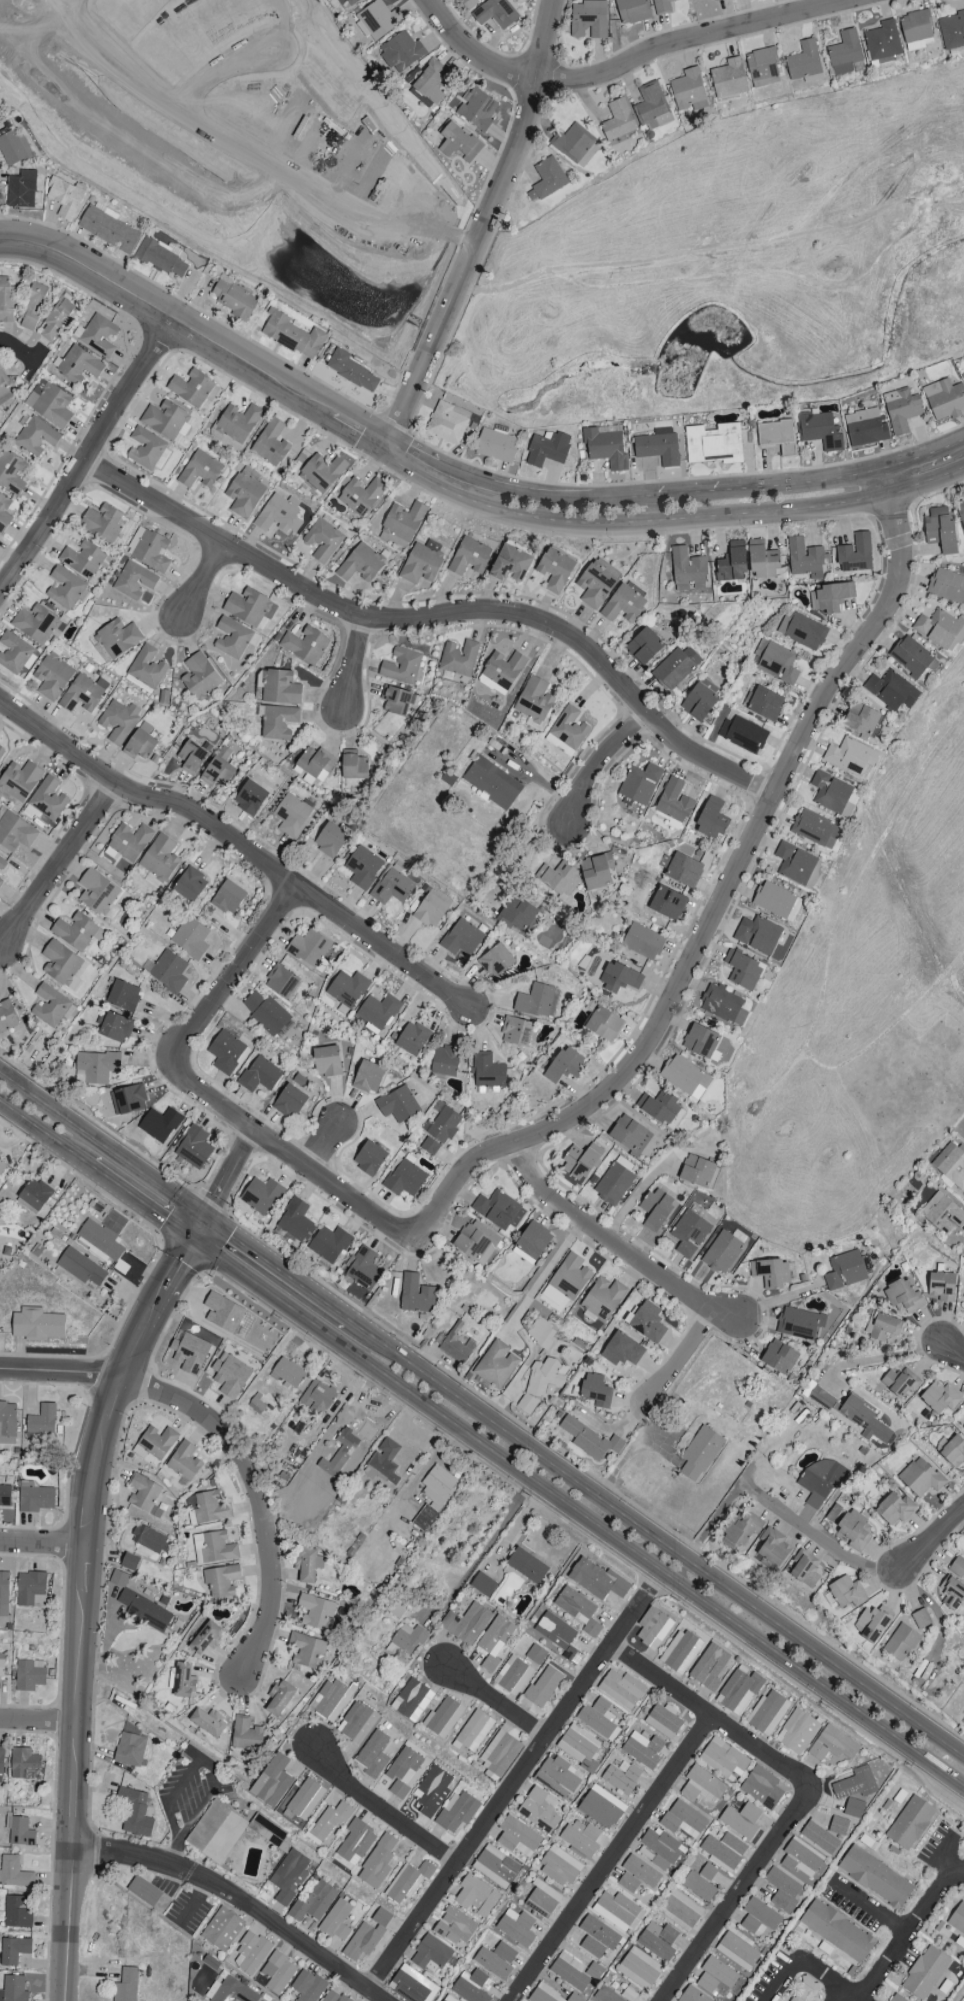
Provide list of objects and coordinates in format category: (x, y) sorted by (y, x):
building: (716, 0)
road: (69, 2)
building: (345, 3)
building: (468, 3)
building: (662, 6)
building: (631, 11)
building: (495, 13)
building: (589, 19)
building: (377, 21)
building: (916, 30)
building: (951, 30)
building: (882, 42)
building: (401, 52)
building: (844, 52)
road: (631, 63)
building: (804, 63)
road: (223, 65)
building: (762, 68)
building: (729, 78)
building: (428, 81)
building: (689, 91)
building: (652, 107)
building: (476, 109)
building: (618, 120)
building: (459, 144)
building: (575, 145)
building: (13, 148)
road: (248, 152)
building: (546, 180)
building: (21, 190)
building: (64, 198)
road: (480, 226)
building: (107, 228)
road: (716, 248)
building: (160, 257)
building: (234, 298)
building: (6, 301)
building: (33, 306)
building: (56, 319)
road: (196, 332)
building: (97, 335)
building: (292, 335)
road: (20, 352)
building: (79, 364)
building: (351, 371)
building: (962, 375)
building: (3, 388)
building: (191, 388)
building: (944, 399)
building: (49, 403)
building: (901, 410)
building: (165, 419)
building: (238, 422)
building: (448, 422)
building: (865, 428)
building: (820, 431)
building: (34, 435)
building: (777, 437)
building: (271, 443)
building: (714, 444)
building: (496, 445)
building: (606, 446)
building: (658, 447)
road: (949, 447)
building: (145, 448)
building: (547, 449)
road: (86, 452)
road: (409, 460)
road: (908, 462)
building: (200, 470)
building: (11, 472)
building: (322, 472)
road: (884, 483)
road: (800, 484)
road: (926, 484)
building: (245, 493)
road: (538, 495)
road: (681, 495)
building: (361, 496)
building: (960, 511)
building: (4, 513)
building: (279, 514)
building: (102, 522)
road: (655, 522)
building: (401, 524)
building: (941, 530)
building: (323, 539)
building: (855, 554)
building: (469, 557)
building: (803, 557)
building: (82, 559)
building: (511, 562)
building: (763, 562)
building: (360, 563)
building: (422, 563)
building: (731, 566)
building: (555, 570)
building: (688, 570)
road: (204, 580)
building: (133, 581)
building: (595, 584)
building: (947, 586)
building: (65, 588)
building: (831, 597)
building: (623, 605)
building: (250, 608)
road: (440, 616)
building: (38, 624)
building: (940, 630)
building: (805, 632)
building: (118, 637)
building: (232, 638)
building: (305, 645)
building: (644, 647)
building: (13, 653)
building: (910, 656)
building: (459, 658)
building: (776, 662)
road: (355, 663)
building: (400, 666)
building: (147, 667)
building: (676, 667)
building: (502, 672)
building: (52, 676)
building: (199, 676)
building: (280, 687)
building: (891, 691)
building: (83, 693)
building: (396, 700)
building: (534, 701)
building: (698, 702)
building: (764, 704)
building: (861, 719)
building: (118, 721)
building: (278, 722)
building: (567, 732)
building: (743, 734)
building: (140, 743)
building: (850, 756)
building: (191, 757)
building: (316, 762)
road: (603, 763)
building: (354, 766)
building: (217, 773)
building: (19, 780)
building: (492, 783)
building: (640, 784)
building: (830, 792)
building: (250, 797)
building: (48, 799)
building: (674, 802)
building: (291, 815)
building: (712, 819)
building: (815, 829)
building: (15, 831)
building: (330, 840)
building: (130, 842)
road: (239, 844)
road: (520, 845)
road: (751, 846)
building: (160, 858)
road: (58, 861)
building: (2, 862)
building: (794, 864)
building: (363, 867)
building: (683, 870)
building: (596, 871)
building: (558, 879)
building: (1, 881)
building: (190, 884)
building: (392, 887)
building: (98, 894)
building: (228, 898)
building: (776, 901)
building: (667, 903)
building: (430, 910)
building: (519, 917)
building: (75, 931)
building: (758, 934)
building: (190, 938)
building: (462, 939)
building: (641, 943)
building: (309, 949)
building: (496, 961)
building: (61, 963)
road: (244, 966)
building: (742, 970)
building: (168, 972)
building: (618, 977)
road: (903, 977)
building: (281, 981)
building: (347, 989)
building: (123, 996)
building: (535, 1000)
building: (50, 1005)
building: (723, 1005)
building: (378, 1012)
building: (266, 1013)
building: (7, 1017)
building: (604, 1024)
building: (116, 1028)
building: (516, 1031)
building: (412, 1039)
building: (701, 1041)
building: (226, 1053)
building: (326, 1061)
building: (445, 1061)
building: (565, 1065)
building: (95, 1067)
building: (487, 1071)
building: (259, 1075)
building: (368, 1077)
building: (685, 1077)
building: (128, 1099)
building: (289, 1102)
building: (397, 1104)
building: (659, 1106)
building: (160, 1124)
building: (444, 1125)
road: (45, 1134)
road: (101, 1145)
building: (193, 1147)
building: (429, 1147)
road: (323, 1148)
building: (0, 1152)
building: (369, 1158)
building: (581, 1162)
building: (951, 1165)
building: (2, 1168)
building: (697, 1171)
road: (226, 1172)
building: (404, 1179)
building: (613, 1184)
road: (341, 1191)
building: (36, 1194)
building: (261, 1195)
road: (140, 1202)
building: (656, 1208)
building: (498, 1210)
building: (942, 1214)
traffic signals: (204, 1218)
building: (294, 1221)
building: (689, 1233)
traffic signals: (191, 1238)
building: (102, 1240)
building: (476, 1242)
building: (532, 1243)
building: (329, 1244)
road: (616, 1244)
building: (722, 1252)
building: (81, 1267)
road: (276, 1269)
building: (363, 1270)
building: (845, 1270)
building: (771, 1273)
road: (543, 1277)
building: (567, 1280)
road: (253, 1284)
building: (942, 1286)
building: (416, 1295)
building: (903, 1297)
building: (603, 1298)
building: (963, 1300)
building: (223, 1313)
building: (647, 1321)
building: (799, 1324)
building: (38, 1325)
building: (882, 1327)
building: (541, 1333)
building: (622, 1350)
road: (952, 1350)
building: (189, 1353)
building: (779, 1357)
road: (685, 1358)
road: (879, 1358)
building: (496, 1365)
building: (288, 1373)
building: (230, 1375)
road: (51, 1376)
building: (545, 1378)
building: (899, 1383)
building: (595, 1390)
building: (818, 1396)
building: (317, 1397)
building: (940, 1397)
building: (526, 1404)
building: (864, 1419)
building: (43, 1422)
building: (7, 1423)
building: (590, 1440)
building: (157, 1442)
building: (953, 1452)
road: (761, 1453)
building: (338, 1454)
building: (699, 1454)
building: (184, 1462)
building: (383, 1462)
building: (920, 1477)
building: (820, 1481)
road: (255, 1487)
building: (144, 1495)
building: (434, 1495)
building: (5, 1496)
building: (36, 1499)
building: (208, 1509)
building: (895, 1509)
road: (709, 1526)
building: (742, 1529)
building: (855, 1530)
road: (812, 1533)
road: (656, 1538)
road: (930, 1538)
building: (150, 1540)
road: (41, 1547)
building: (213, 1548)
building: (773, 1548)
road: (640, 1557)
building: (130, 1562)
building: (307, 1564)
building: (958, 1565)
building: (527, 1566)
building: (803, 1569)
building: (118, 1579)
building: (221, 1580)
building: (598, 1580)
building: (483, 1584)
building: (31, 1590)
building: (847, 1592)
road: (80, 1593)
building: (952, 1593)
building: (4, 1594)
building: (575, 1605)
building: (145, 1611)
building: (316, 1612)
building: (920, 1619)
building: (874, 1622)
building: (466, 1623)
building: (592, 1628)
building: (653, 1628)
building: (558, 1636)
building: (205, 1638)
building: (409, 1639)
building: (494, 1642)
building: (901, 1642)
building: (306, 1649)
building: (680, 1652)
building: (536, 1654)
building: (1, 1665)
building: (709, 1667)
building: (29, 1675)
building: (513, 1675)
building: (183, 1680)
building: (543, 1686)
building: (621, 1689)
building: (739, 1690)
building: (280, 1699)
building: (331, 1699)
building: (412, 1700)
road: (498, 1703)
building: (768, 1713)
building: (443, 1718)
building: (598, 1719)
building: (663, 1721)
building: (208, 1722)
road: (37, 1723)
building: (357, 1723)
building: (797, 1731)
building: (473, 1732)
building: (246, 1735)
building: (833, 1745)
building: (130, 1746)
building: (579, 1746)
building: (499, 1753)
building: (373, 1755)
building: (723, 1758)
building: (1, 1760)
road: (203, 1762)
building: (24, 1765)
building: (403, 1771)
building: (558, 1775)
building: (621, 1777)
building: (272, 1782)
building: (855, 1784)
building: (701, 1786)
building: (761, 1788)
building: (432, 1791)
road: (507, 1793)
road: (803, 1796)
building: (601, 1807)
building: (854, 1808)
road: (383, 1810)
building: (539, 1810)
building: (135, 1812)
building: (457, 1812)
building: (683, 1820)
building: (741, 1820)
building: (329, 1822)
building: (910, 1823)
building: (838, 1826)
building: (21, 1832)
building: (216, 1832)
building: (517, 1837)
building: (819, 1837)
building: (581, 1838)
building: (356, 1842)
building: (659, 1849)
building: (724, 1850)
road: (173, 1853)
building: (801, 1858)
road: (612, 1859)
building: (378, 1862)
road: (950, 1862)
building: (495, 1867)
building: (560, 1867)
building: (641, 1871)
building: (13, 1872)
building: (289, 1876)
building: (875, 1877)
building: (408, 1881)
building: (628, 1883)
building: (700, 1883)
building: (782, 1890)
building: (144, 1891)
building: (476, 1896)
building: (543, 1897)
road: (236, 1898)
building: (313, 1903)
road: (193, 1905)
road: (872, 1909)
building: (680, 1910)
building: (617, 1911)
building: (17, 1913)
building: (759, 1917)
building: (957, 1918)
building: (335, 1921)
building: (454, 1926)
building: (516, 1928)
building: (222, 1929)
building: (837, 1931)
building: (367, 1936)
building: (597, 1937)
building: (658, 1940)
building: (737, 1949)
building: (13, 1950)
building: (505, 1952)
building: (251, 1954)
building: (430, 1955)
building: (492, 1964)
building: (639, 1969)
building: (569, 1972)
building: (278, 1973)
building: (925, 1973)
building: (716, 1977)
road: (870, 1984)
building: (126, 1985)
building: (411, 1985)
building: (308, 1986)
building: (470, 1986)
building: (13, 1989)
building: (229, 1991)
road: (834, 1993)
building: (550, 1995)
building: (606, 1995)
building: (628, 1995)
building: (692, 1995)
building: (448, 1998)
building: (894, 1998)
road: (859, 2000)

